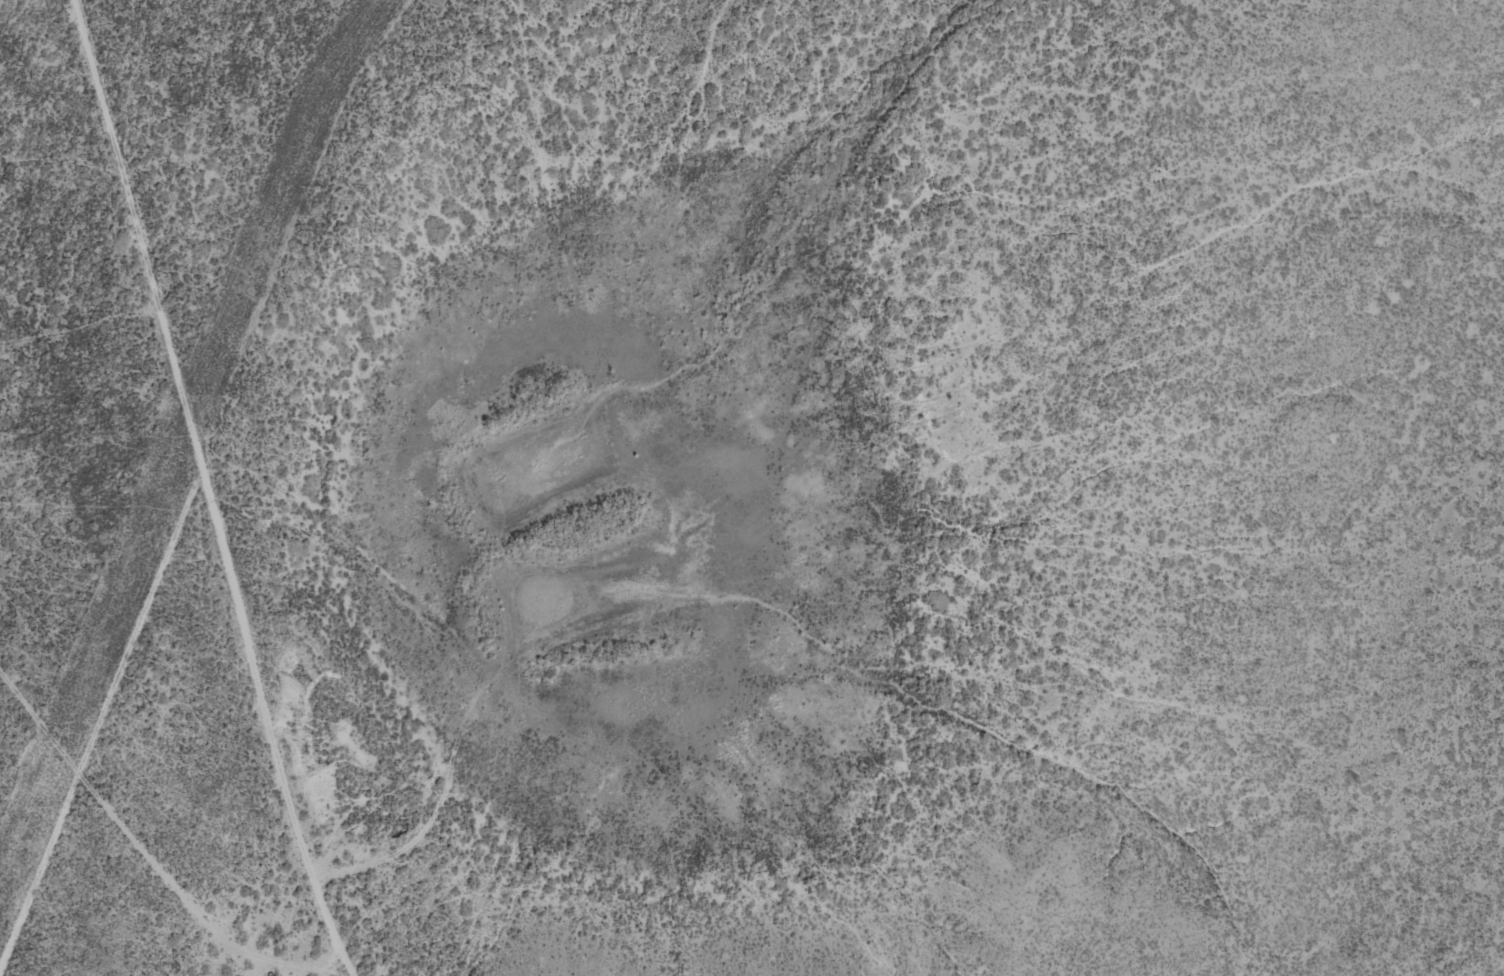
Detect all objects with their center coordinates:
road: (239, 488)

